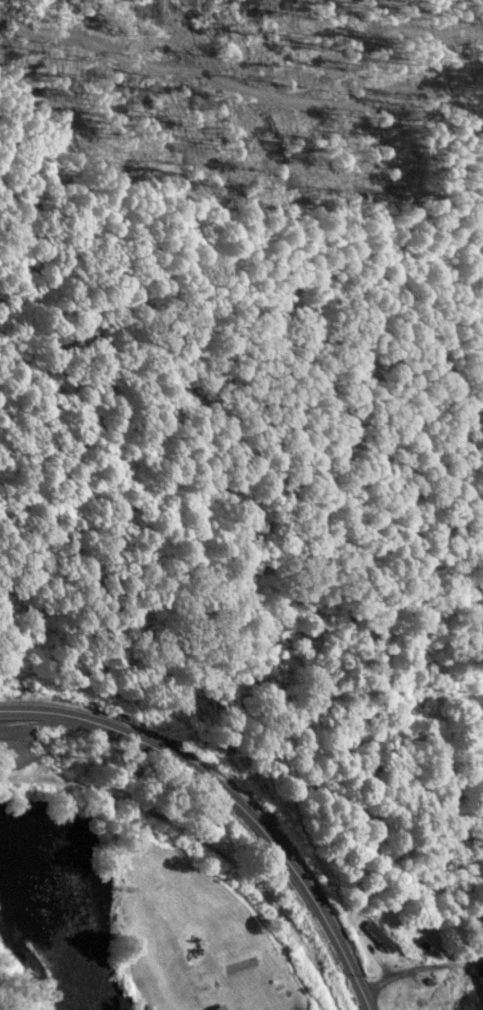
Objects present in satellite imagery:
road: (124, 729)
road: (203, 844)
road: (307, 886)
river: (54, 926)
building: (477, 971)
road: (410, 975)
road: (467, 985)
building: (400, 997)
road: (367, 1000)
building: (217, 1006)
road: (304, 1007)

